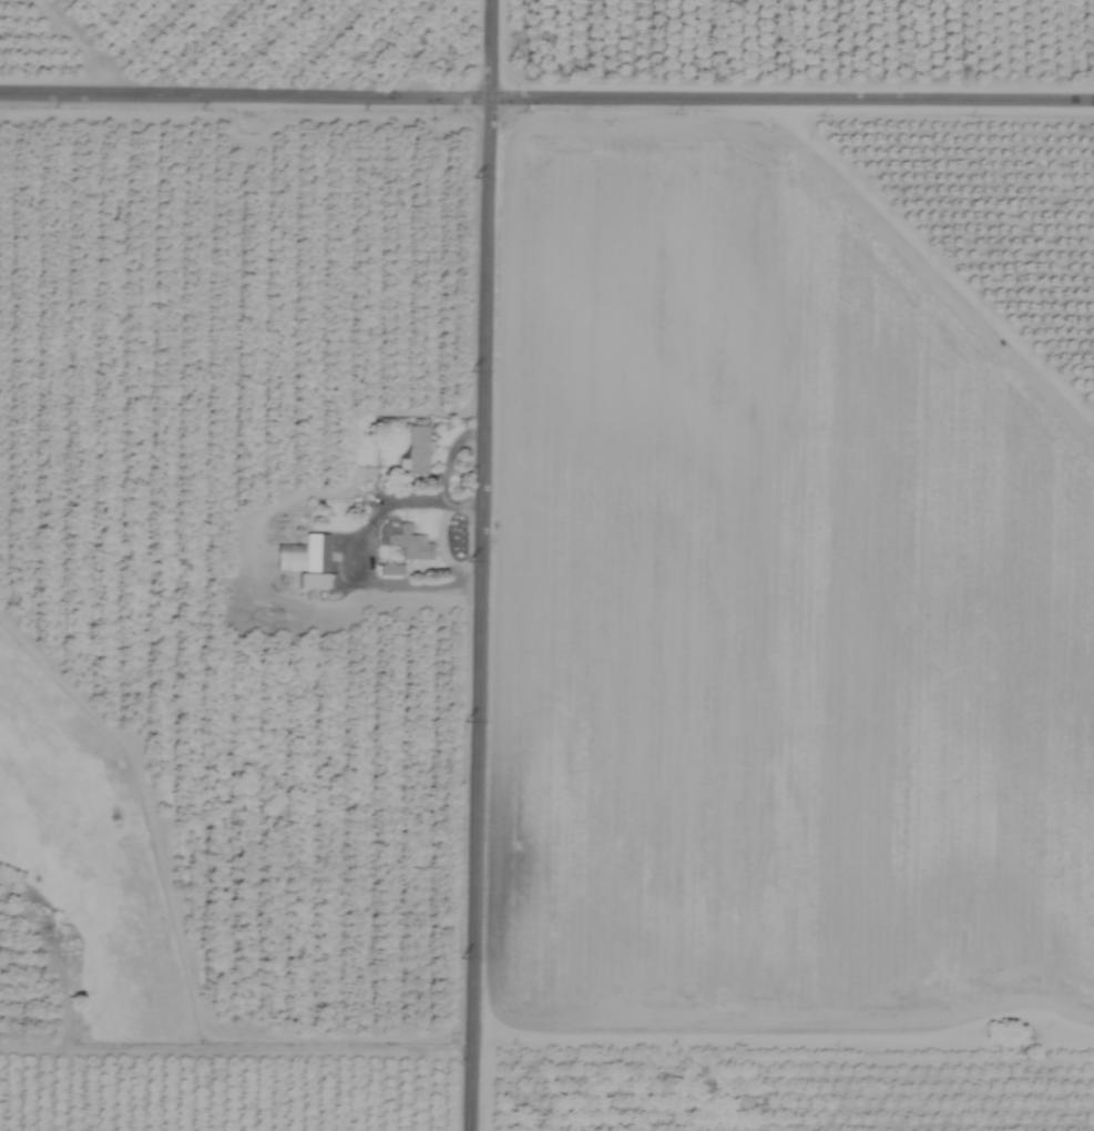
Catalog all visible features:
road: (546, 94)
building: (411, 448)
building: (409, 544)
building: (305, 561)
road: (468, 564)
crop: (546, 565)
building: (389, 570)

